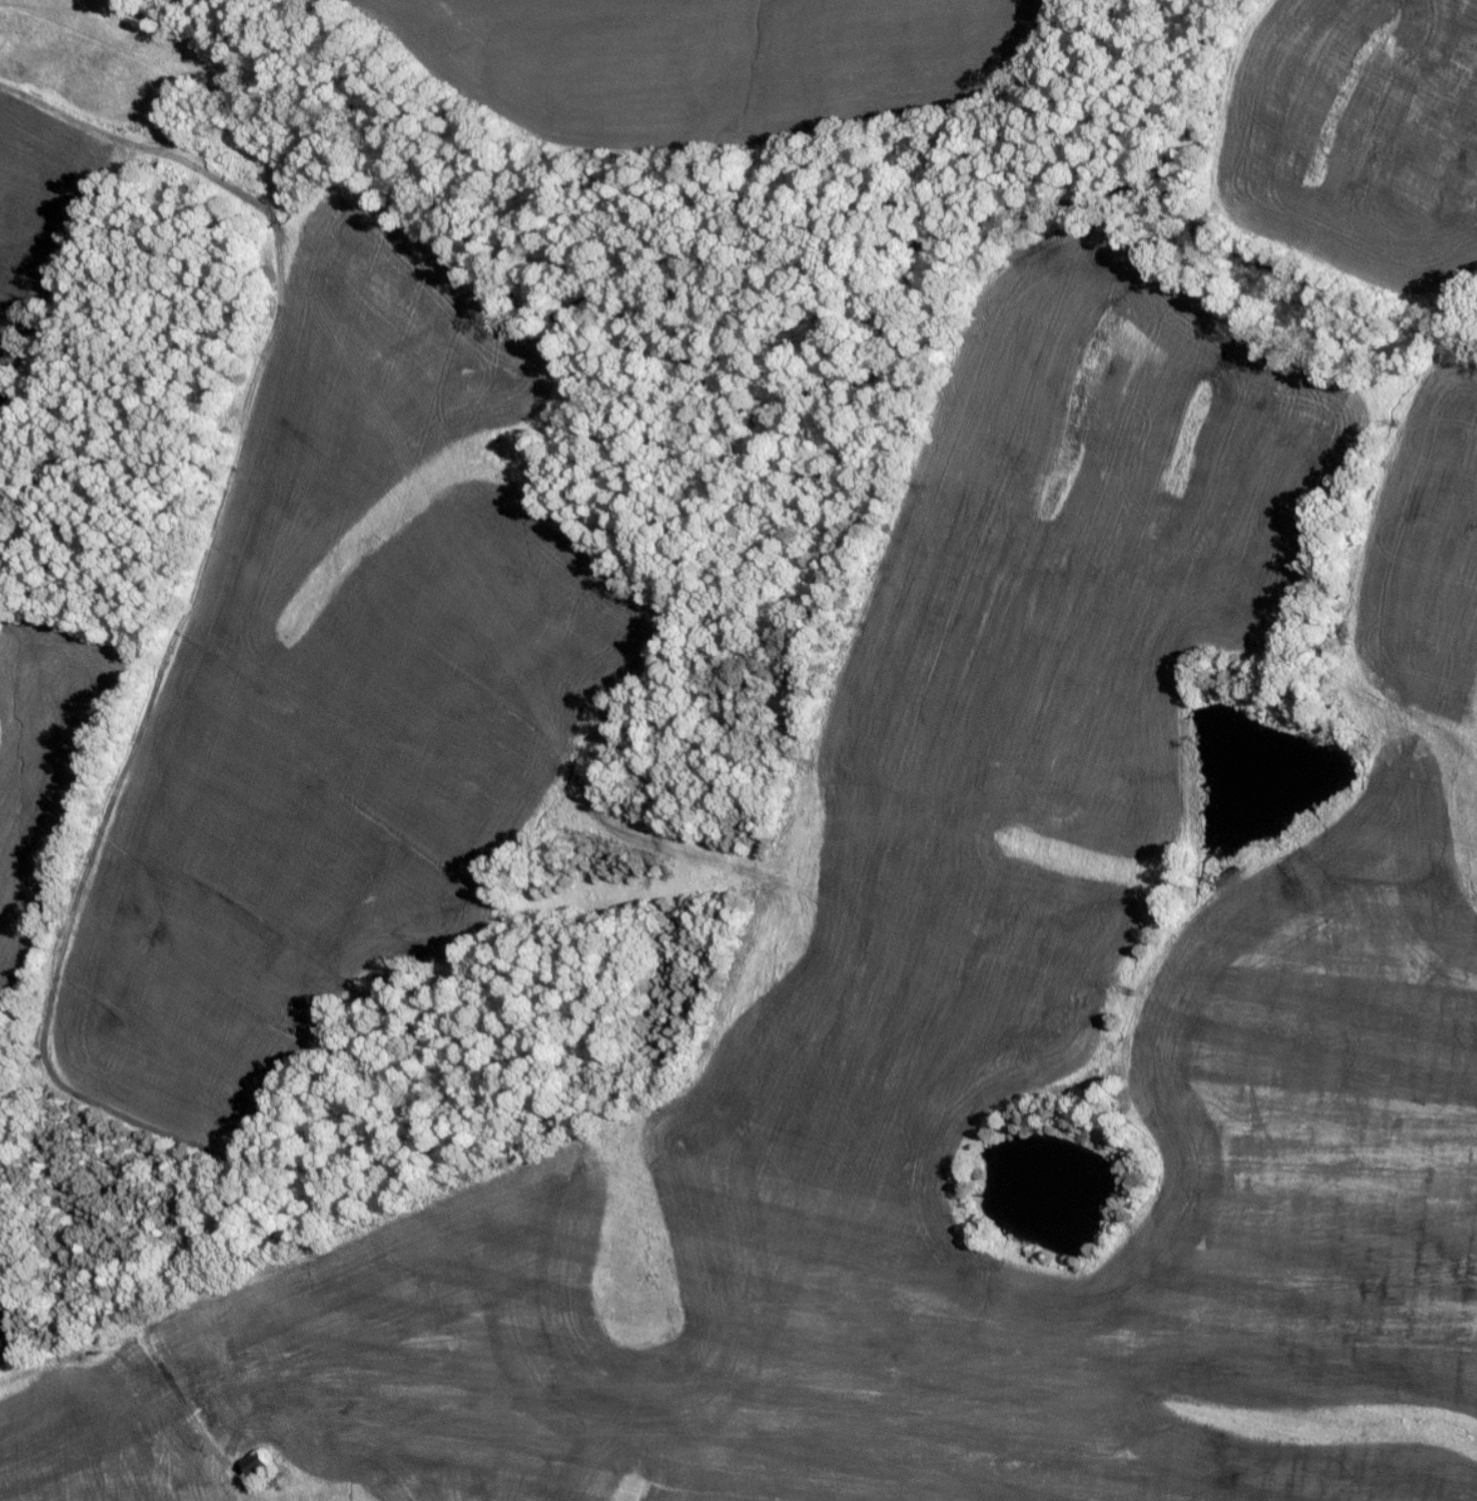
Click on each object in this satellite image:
building: (260, 1465)

